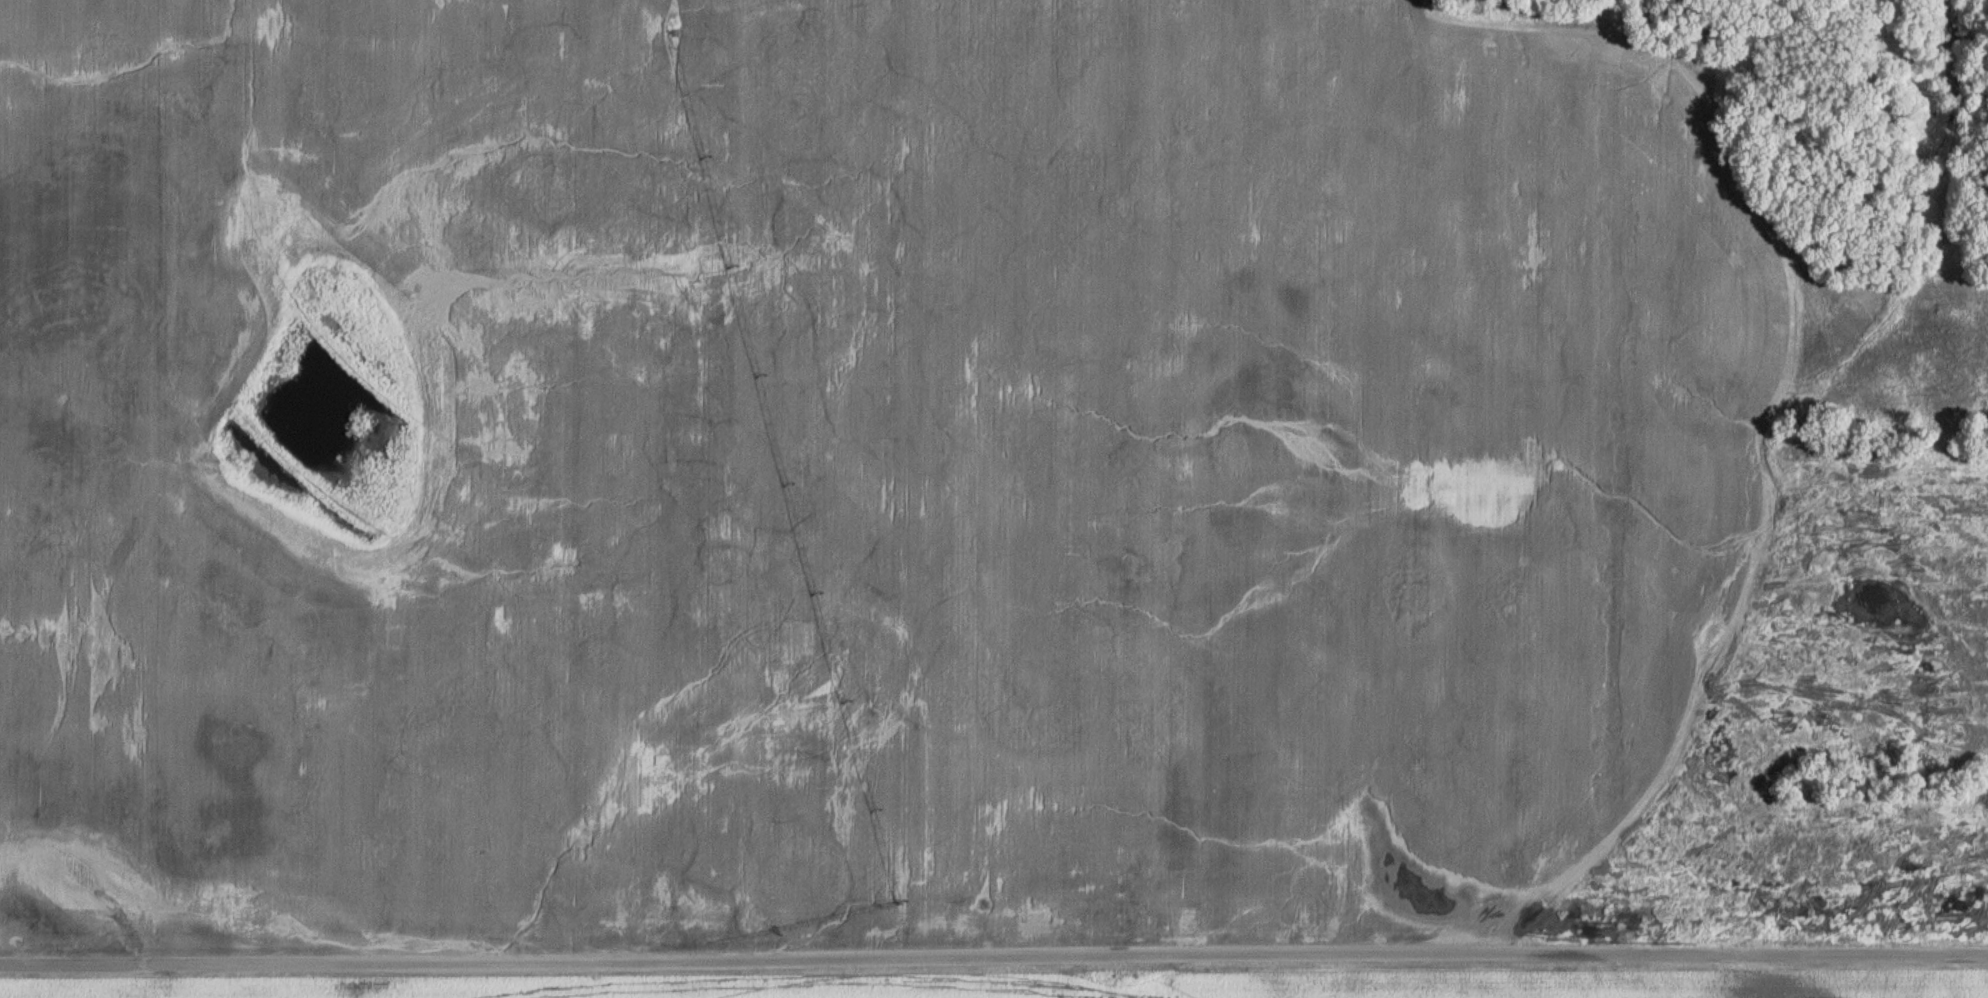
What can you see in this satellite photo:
road: (993, 957)

